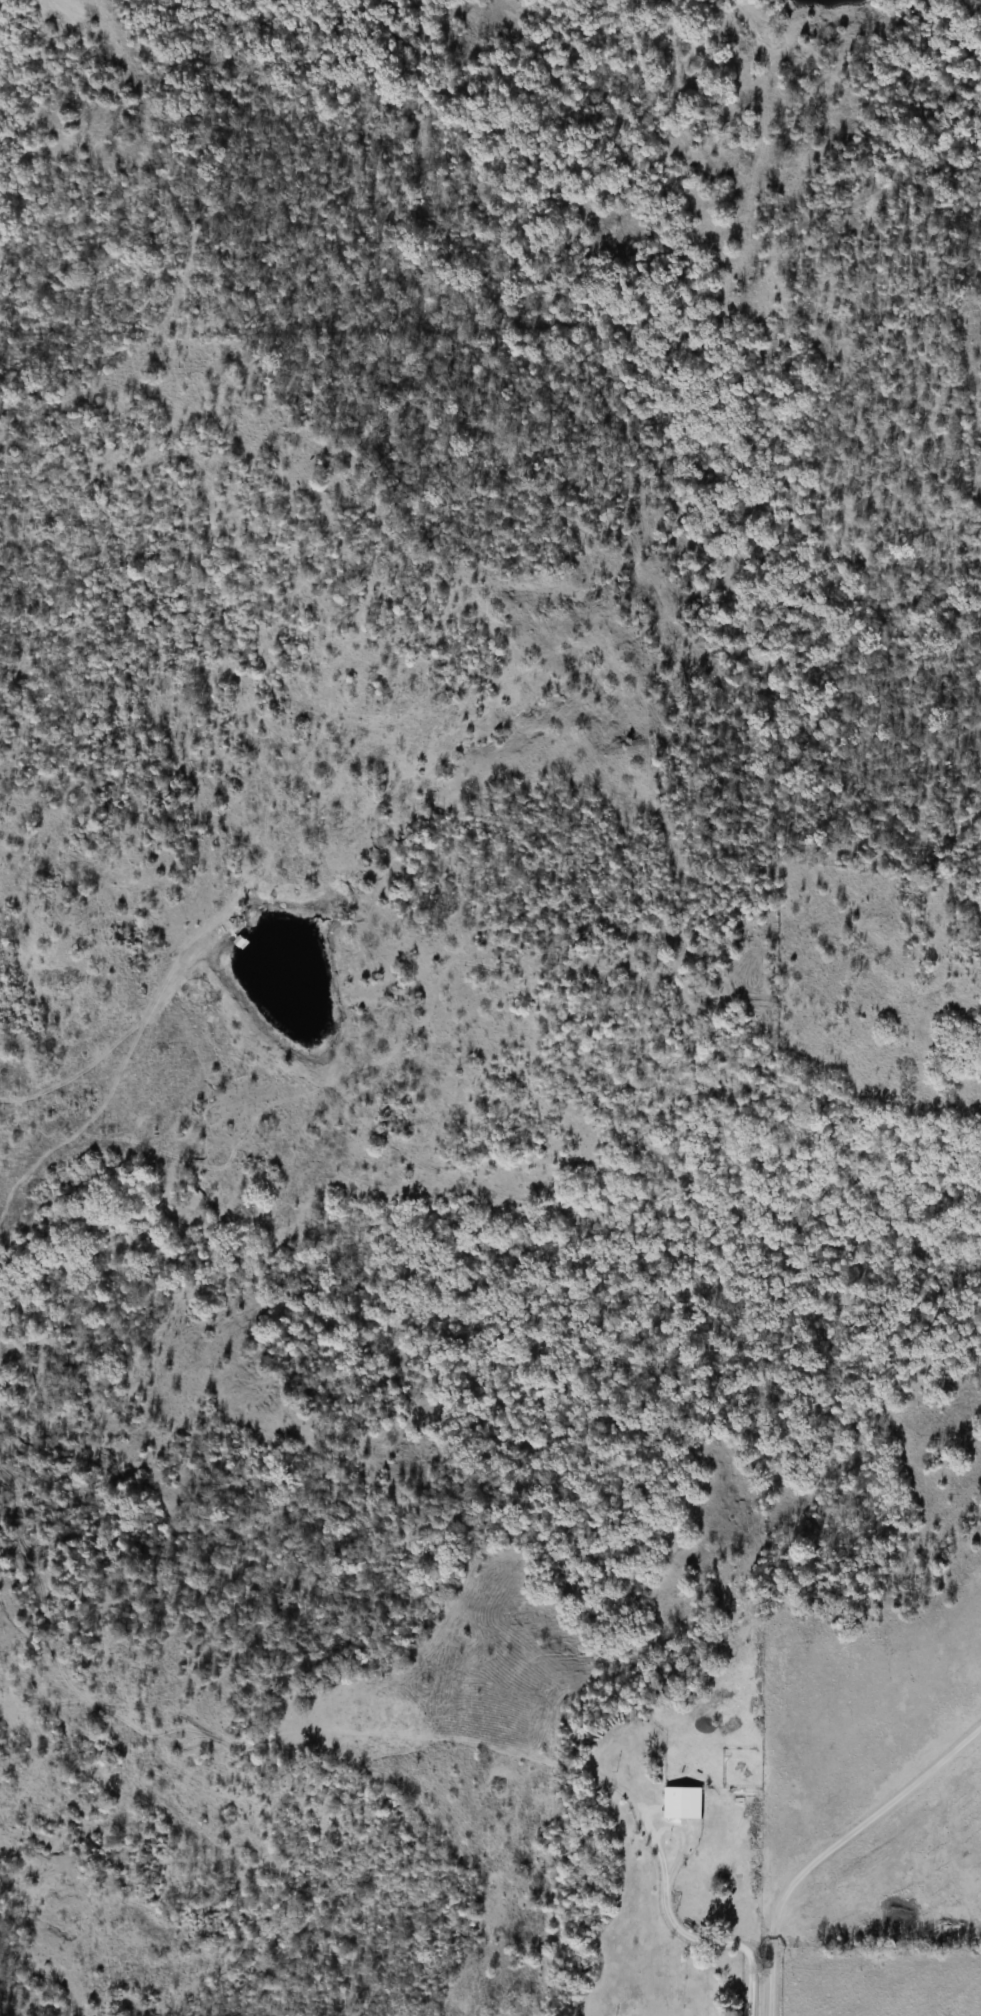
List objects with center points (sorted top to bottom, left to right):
building: (685, 1803)
road: (832, 1849)
road: (943, 1902)
road: (696, 1940)

